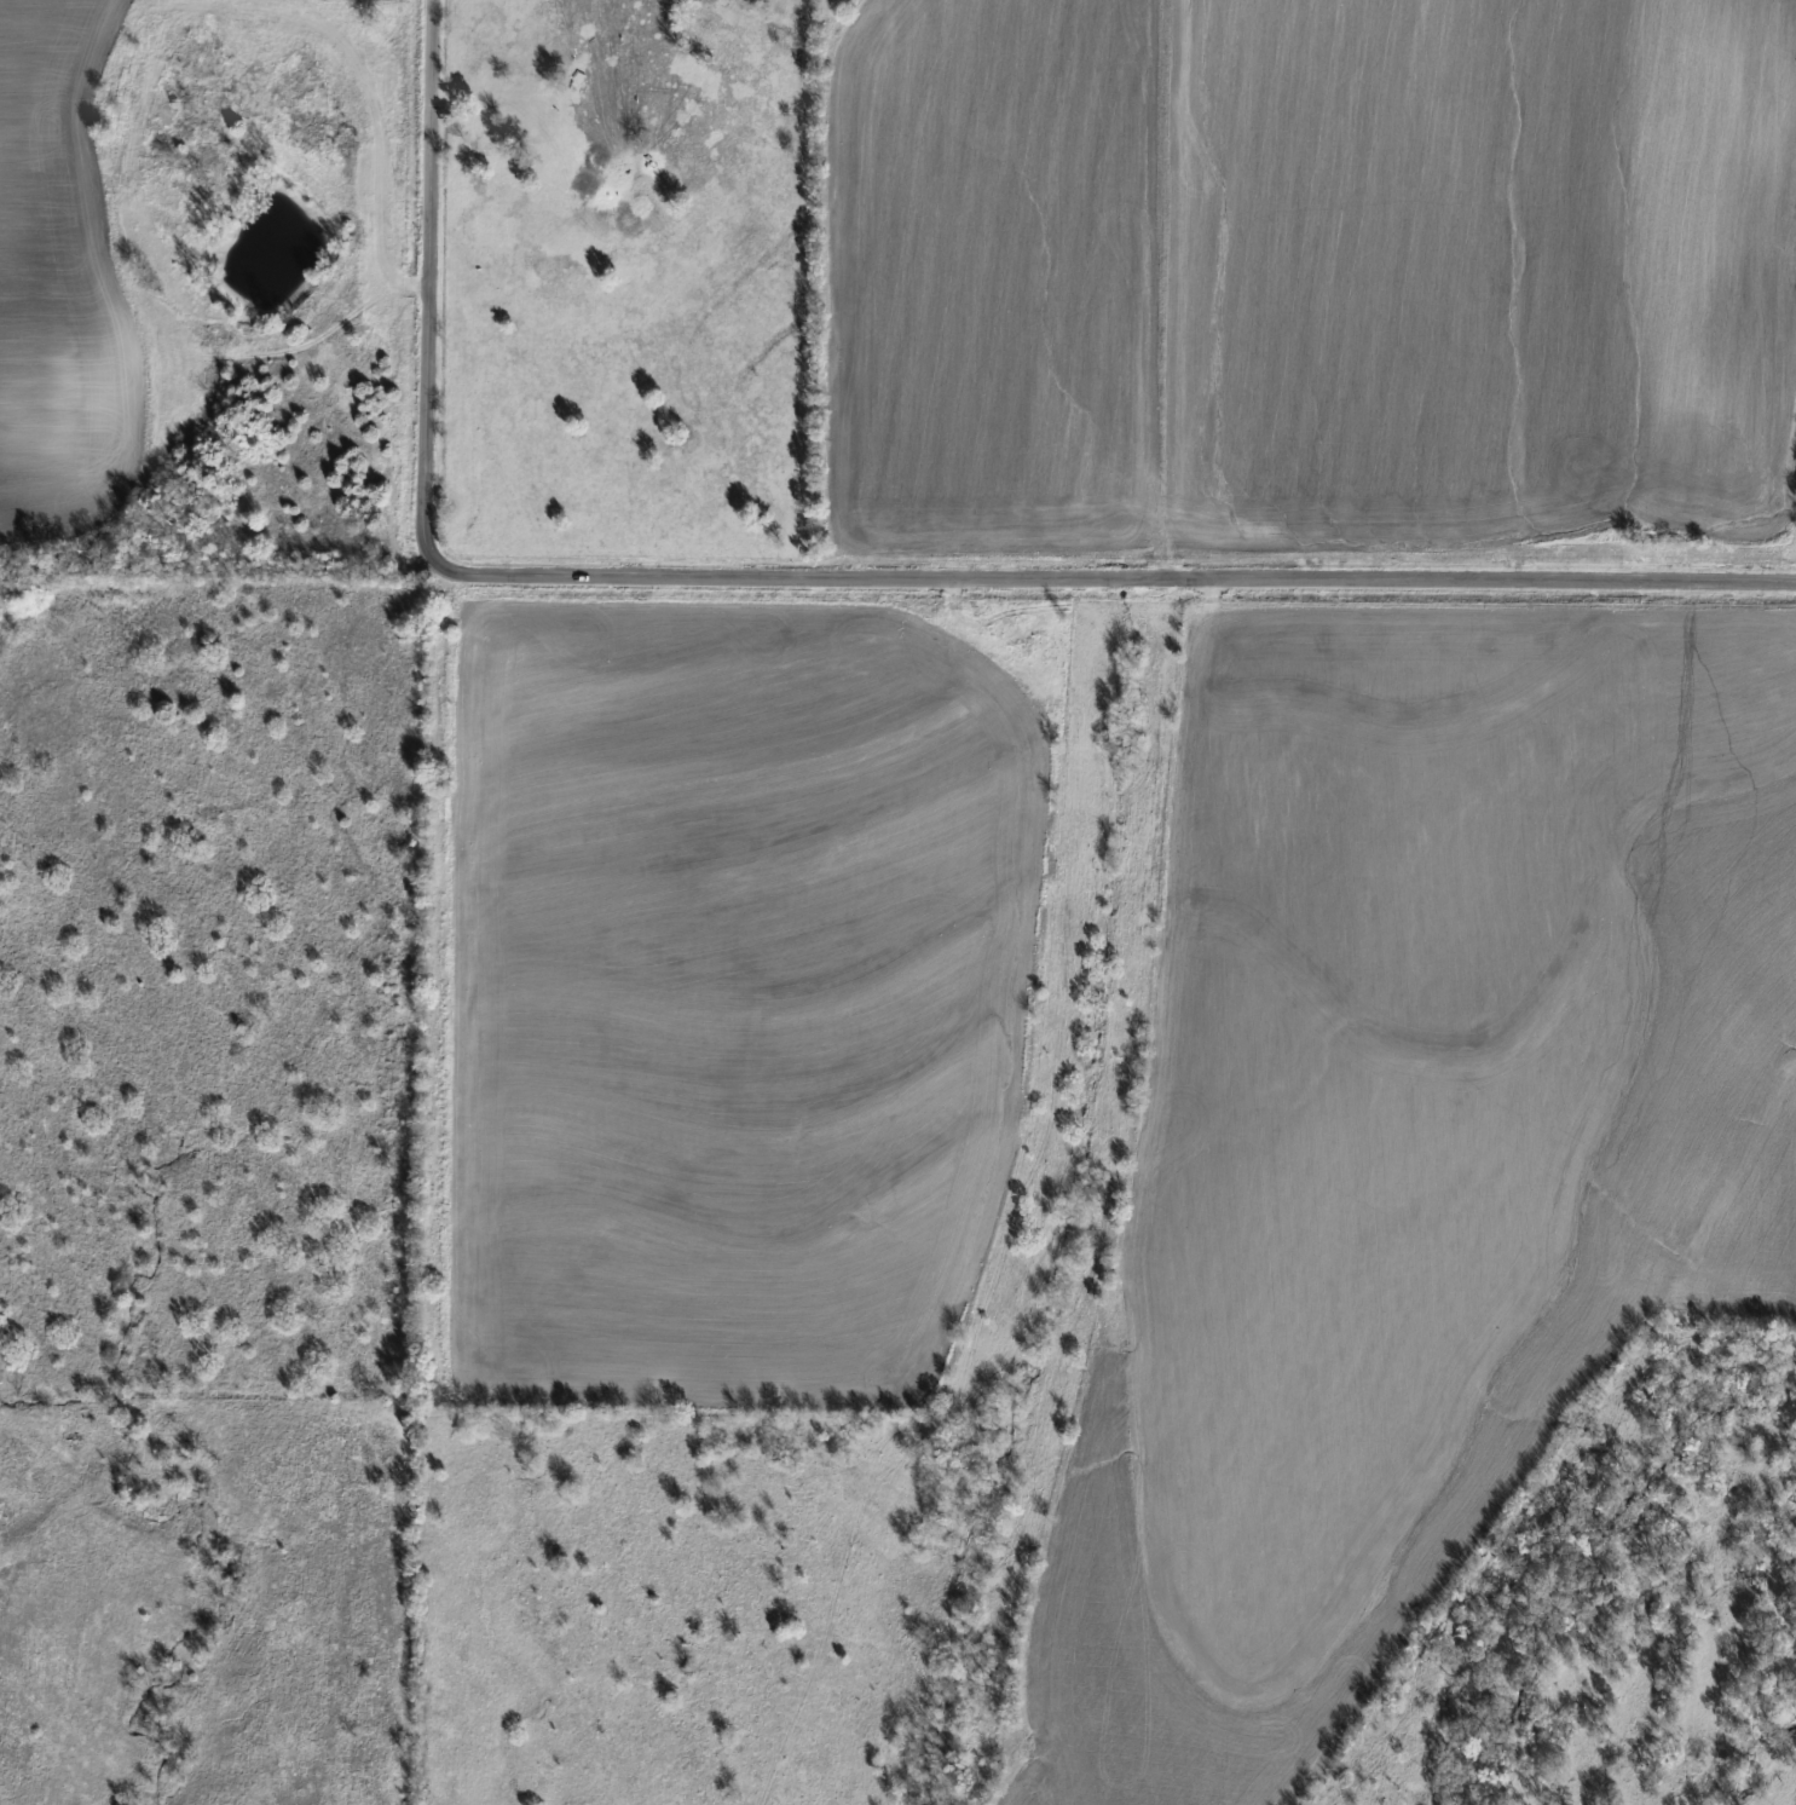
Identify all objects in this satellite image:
road: (835, 584)

